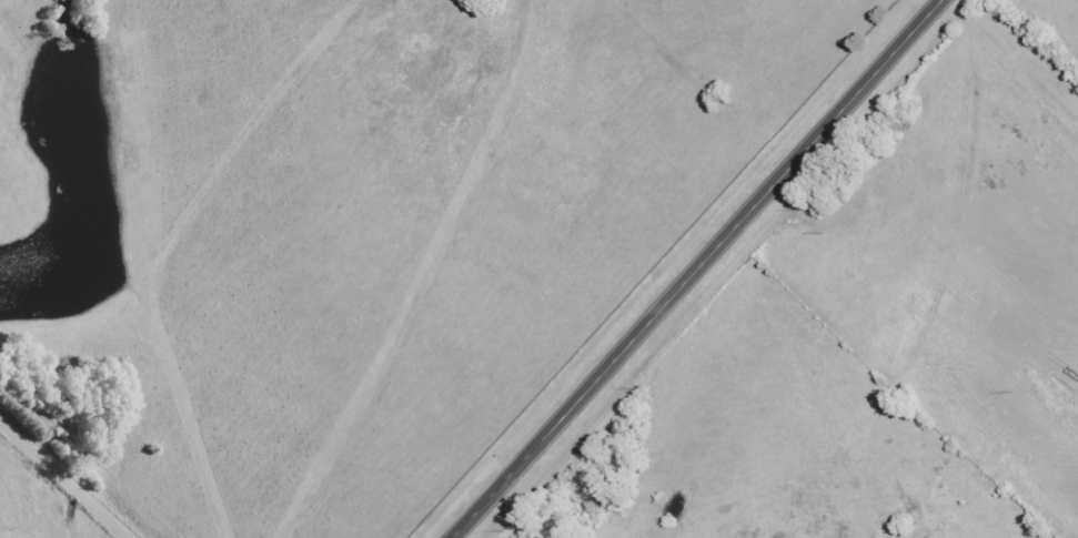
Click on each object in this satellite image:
road: (699, 271)
road: (389, 277)
road: (68, 474)

